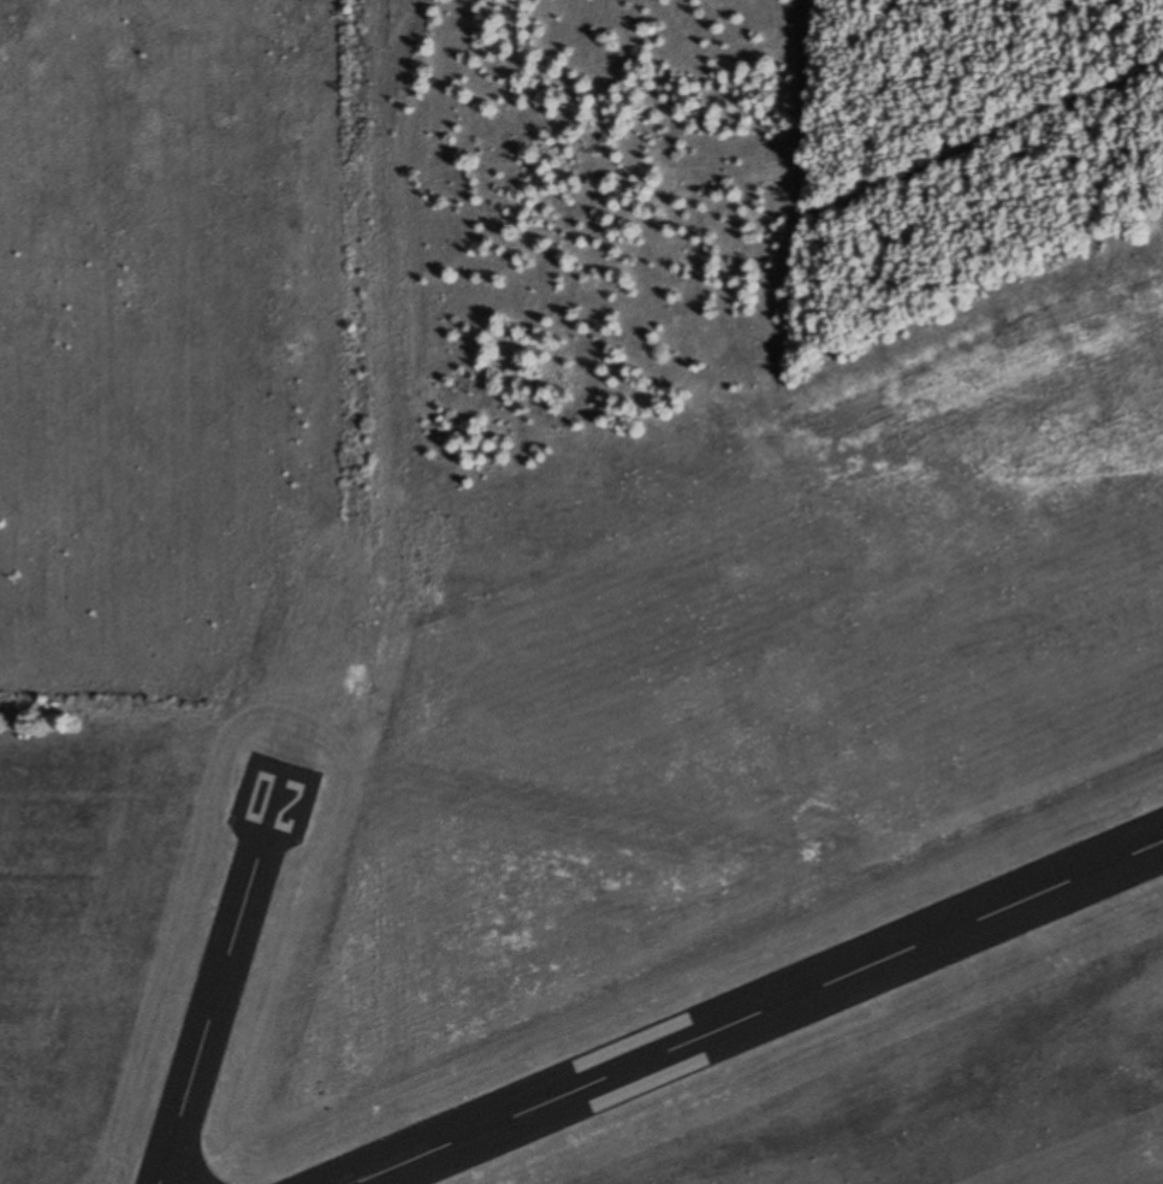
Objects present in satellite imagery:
airport: (660, 804)
building: (1159, 811)
building: (1110, 864)
building: (908, 949)
airport runway: (221, 981)
airport runway: (758, 1012)
building: (449, 1167)

